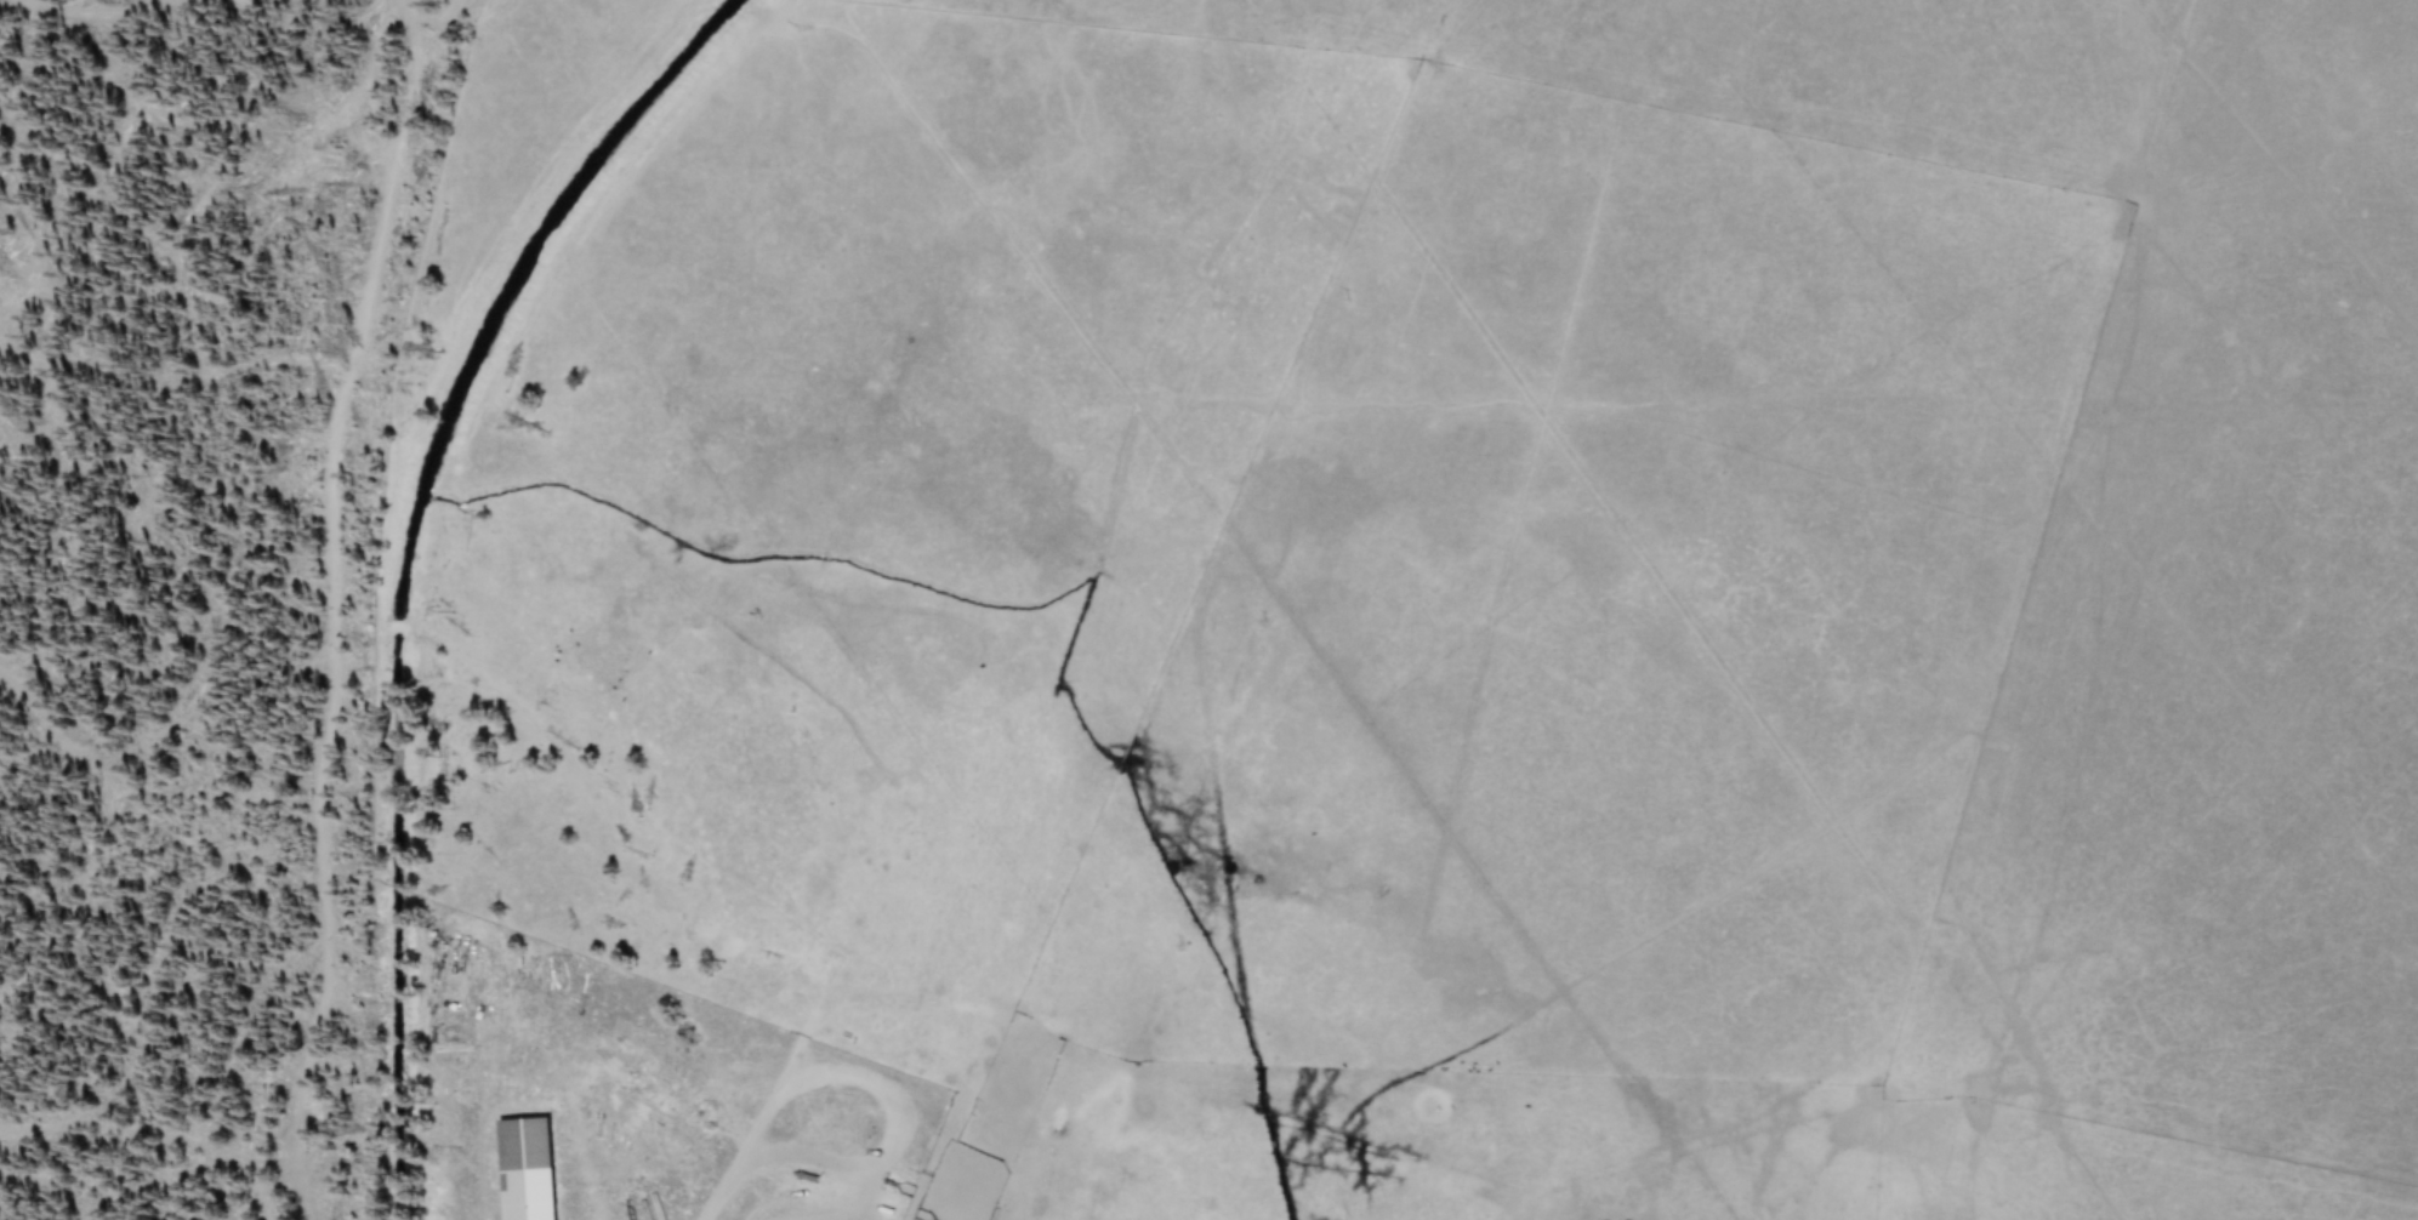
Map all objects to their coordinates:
building: (527, 1168)

